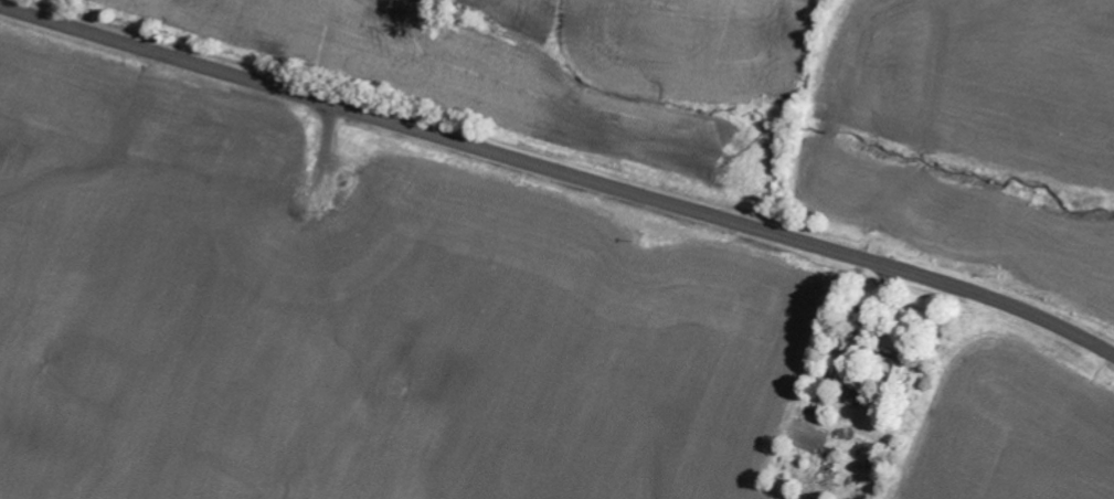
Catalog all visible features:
road: (560, 170)

